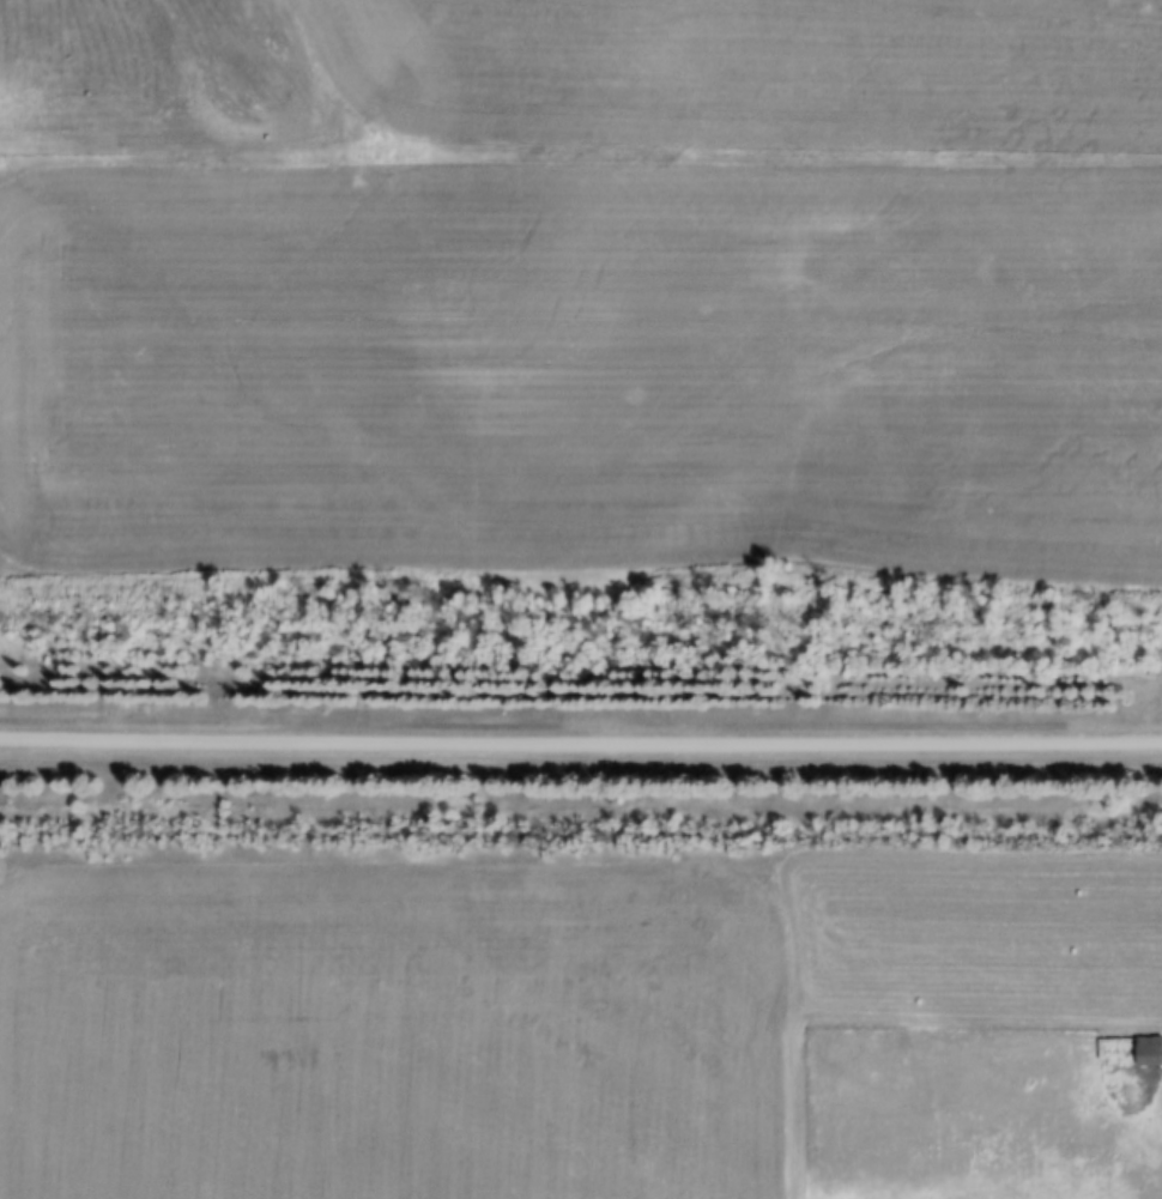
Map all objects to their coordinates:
road: (580, 746)
building: (1151, 1053)

